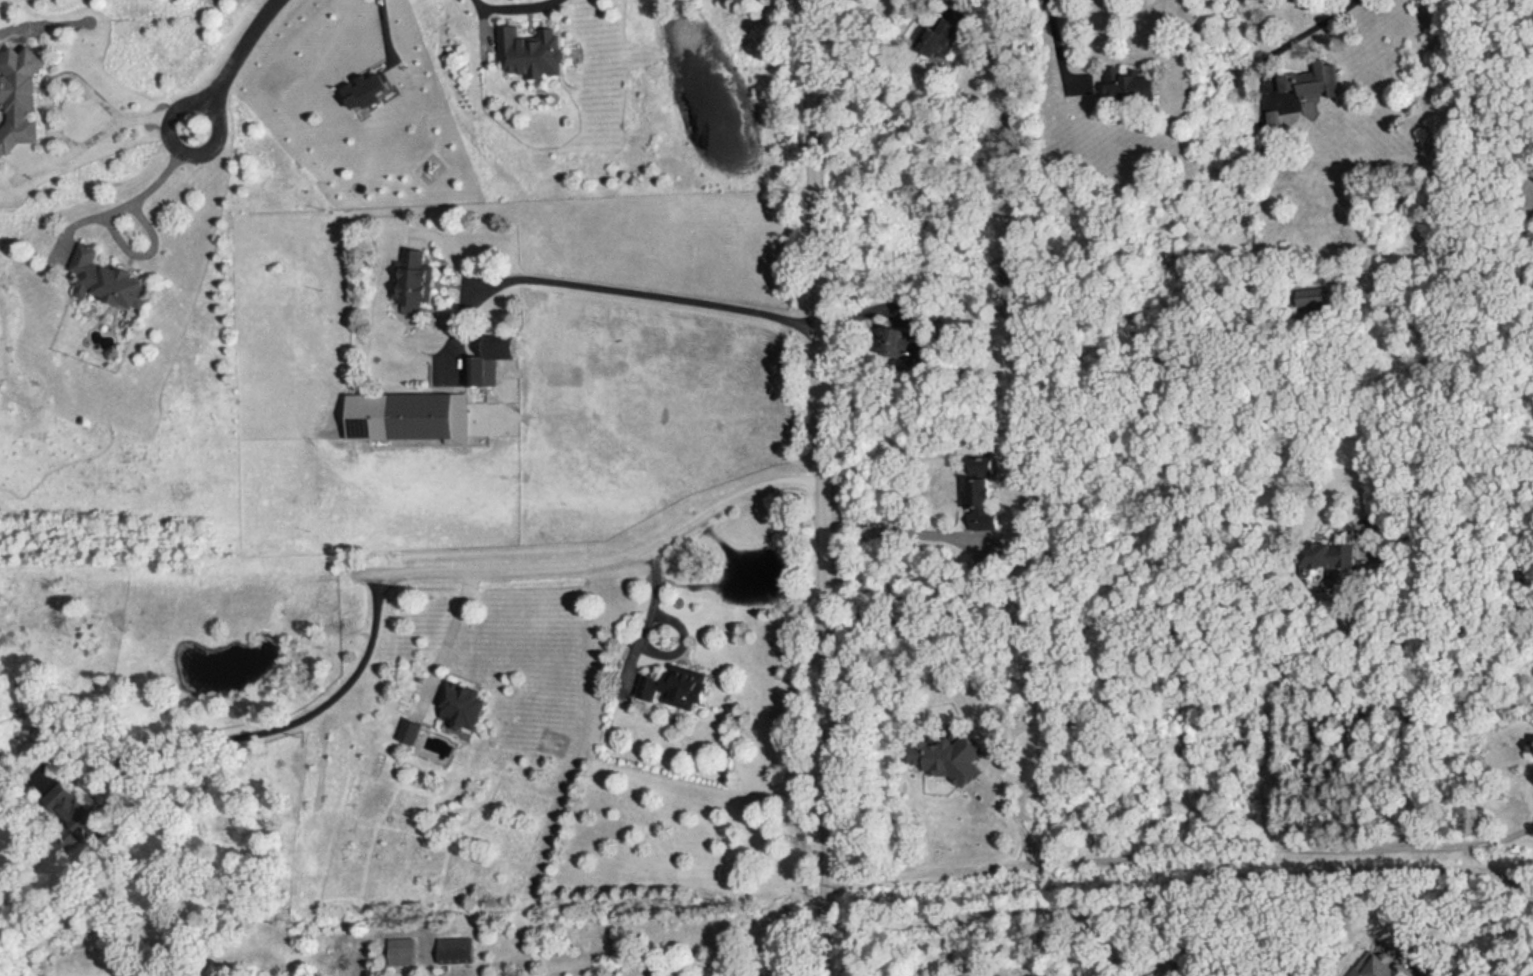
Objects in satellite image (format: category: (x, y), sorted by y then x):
road: (513, 7)
road: (1319, 26)
road: (386, 27)
road: (1052, 42)
building: (540, 53)
road: (232, 65)
road: (62, 81)
building: (1117, 88)
building: (22, 98)
road: (125, 202)
building: (418, 259)
building: (111, 281)
road: (611, 290)
building: (479, 371)
building: (430, 416)
road: (823, 488)
road: (900, 533)
road: (599, 555)
road: (454, 622)
road: (647, 636)
road: (1371, 681)
building: (671, 688)
building: (463, 704)
road: (285, 729)
road: (1009, 814)
road: (1179, 845)
road: (1178, 892)
road: (1086, 944)
road: (946, 946)
building: (459, 949)
building: (404, 952)

